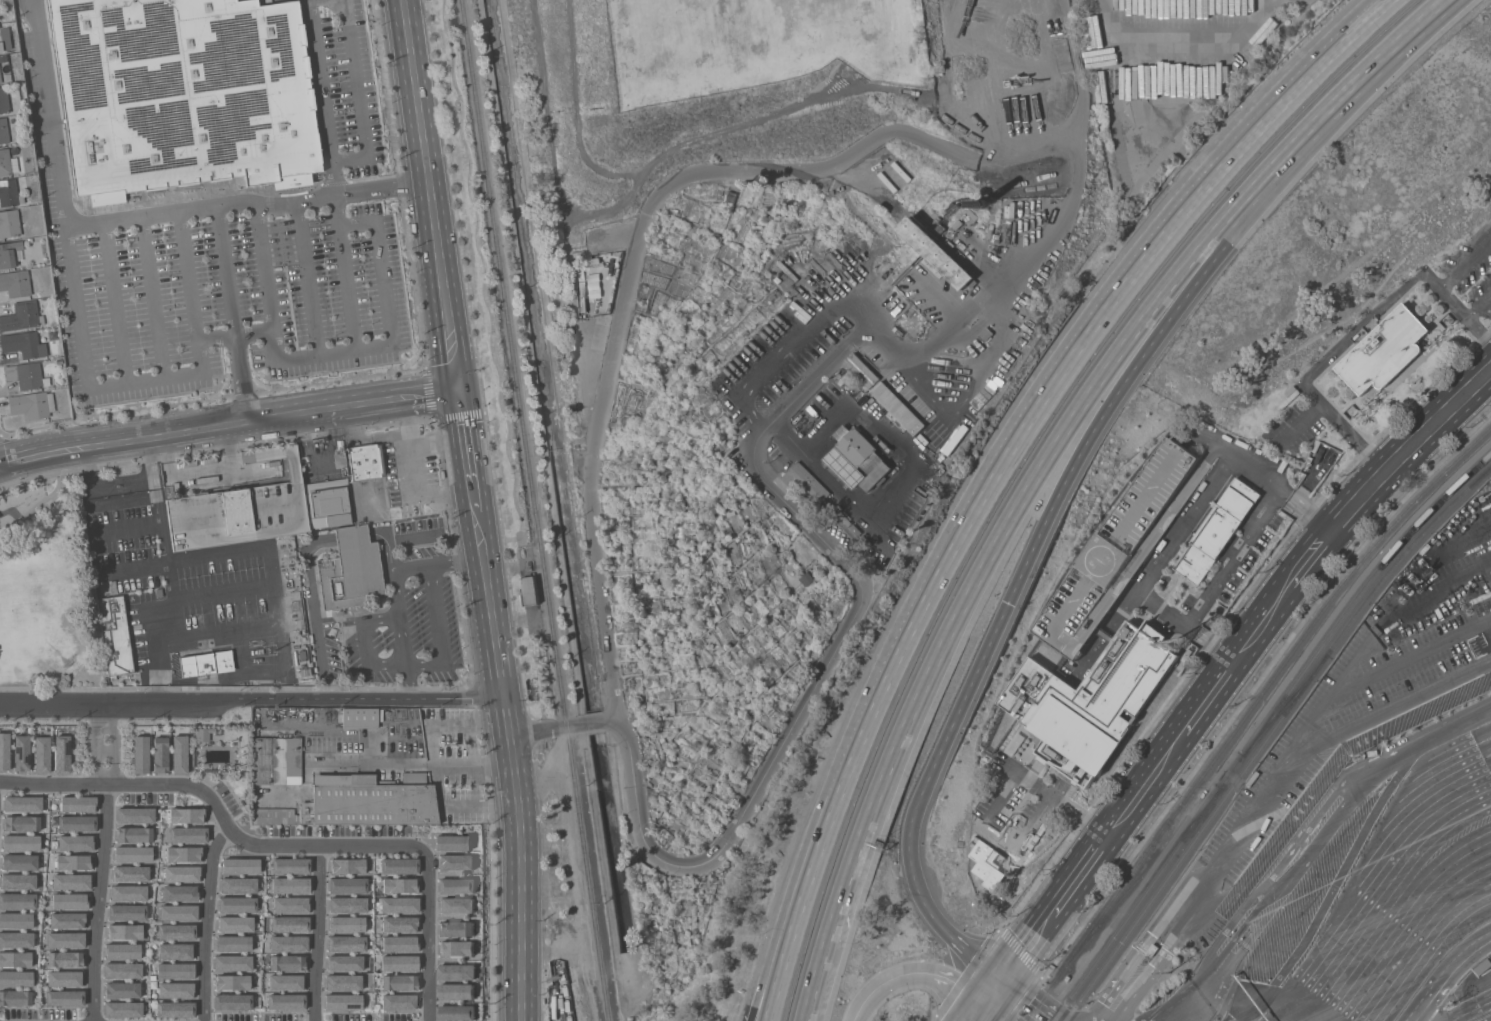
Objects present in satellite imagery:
road: (1181, 33)
park: (757, 43)
building: (1, 46)
building: (0, 79)
road: (1348, 87)
building: (182, 94)
road: (358, 95)
road: (322, 97)
building: (4, 100)
road: (52, 113)
building: (3, 130)
building: (7, 163)
road: (373, 178)
road: (334, 182)
road: (295, 188)
building: (9, 193)
road: (274, 193)
road: (337, 194)
road: (193, 195)
road: (433, 195)
building: (983, 203)
road: (274, 205)
road: (156, 214)
building: (951, 214)
building: (973, 215)
building: (9, 224)
building: (957, 225)
building: (17, 245)
parking lot: (229, 250)
building: (934, 253)
building: (6, 255)
building: (592, 261)
road: (1466, 265)
road: (344, 271)
building: (580, 273)
road: (307, 278)
road: (287, 282)
building: (15, 283)
building: (973, 283)
building: (592, 284)
building: (581, 288)
road: (625, 290)
road: (151, 297)
road: (113, 302)
road: (78, 304)
building: (583, 304)
road: (1479, 305)
road: (231, 314)
building: (21, 316)
road: (1354, 331)
road: (233, 334)
building: (985, 334)
building: (23, 344)
road: (197, 348)
road: (334, 350)
building: (1384, 351)
building: (862, 371)
building: (26, 375)
traffic signals: (461, 390)
building: (1289, 398)
road: (391, 400)
building: (32, 404)
road: (1038, 404)
building: (898, 408)
road: (1437, 418)
road: (1300, 421)
road: (1197, 431)
road: (160, 434)
building: (931, 434)
road: (467, 436)
road: (368, 438)
road: (438, 439)
road: (1217, 440)
road: (211, 448)
building: (857, 457)
building: (365, 461)
road: (1222, 470)
road: (202, 474)
road: (412, 476)
road: (1068, 478)
building: (806, 482)
road: (37, 505)
building: (258, 510)
railway: (534, 510)
building: (844, 517)
building: (1217, 531)
road: (352, 533)
road: (386, 545)
building: (1121, 547)
parking garage: (1121, 547)
parking lot: (1253, 559)
building: (351, 570)
road: (983, 574)
road: (165, 577)
road: (270, 583)
road: (394, 585)
road: (489, 586)
building: (112, 587)
park: (47, 589)
road: (219, 591)
building: (530, 591)
building: (159, 592)
road: (314, 605)
road: (1184, 623)
road: (439, 630)
building: (115, 635)
road: (281, 660)
building: (207, 663)
road: (1256, 684)
road: (252, 697)
road: (807, 698)
building: (1090, 702)
road: (1397, 705)
railway: (1285, 706)
railway: (1246, 713)
building: (361, 717)
road: (1312, 720)
road: (452, 725)
road: (1184, 726)
railway: (1262, 730)
building: (206, 733)
railway: (1269, 738)
road: (95, 741)
road: (114, 742)
building: (1015, 744)
building: (4, 751)
building: (22, 753)
building: (42, 754)
building: (62, 754)
building: (141, 754)
building: (160, 754)
building: (179, 754)
building: (277, 760)
road: (475, 765)
road: (53, 783)
road: (438, 783)
road: (180, 784)
road: (1057, 799)
building: (360, 802)
building: (78, 803)
building: (22, 804)
parking lot: (1018, 808)
building: (135, 815)
building: (185, 815)
building: (22, 823)
building: (77, 823)
road: (1031, 825)
road: (1282, 827)
building: (134, 834)
building: (186, 834)
road: (1308, 840)
building: (21, 843)
building: (76, 843)
building: (452, 843)
road: (325, 846)
building: (133, 854)
building: (183, 854)
road: (522, 855)
building: (19, 862)
building: (74, 862)
building: (456, 862)
building: (240, 865)
building: (290, 865)
building: (398, 865)
building: (347, 866)
building: (131, 873)
building: (181, 873)
building: (1012, 873)
railway: (1143, 876)
building: (18, 882)
building: (71, 882)
building: (238, 885)
building: (290, 885)
building: (347, 885)
building: (399, 885)
building: (456, 886)
building: (129, 893)
building: (179, 893)
building: (18, 901)
building: (69, 901)
road: (100, 902)
building: (236, 904)
building: (290, 904)
building: (346, 904)
building: (399, 904)
road: (924, 904)
road: (1197, 904)
building: (456, 905)
building: (127, 912)
building: (177, 912)
road: (1391, 914)
building: (16, 920)
building: (67, 921)
road: (208, 922)
building: (235, 924)
building: (289, 924)
building: (346, 924)
building: (398, 924)
building: (456, 929)
building: (175, 931)
building: (125, 932)
road: (319, 934)
road: (428, 935)
road: (1002, 935)
building: (16, 939)
building: (66, 940)
building: (232, 943)
building: (288, 943)
building: (399, 943)
building: (346, 945)
building: (456, 948)
road: (769, 949)
building: (1152, 950)
building: (122, 951)
building: (175, 951)
road: (786, 951)
road: (1139, 951)
building: (15, 959)
building: (65, 959)
building: (232, 962)
building: (286, 963)
building: (344, 963)
building: (399, 963)
building: (175, 970)
building: (122, 971)
building: (456, 972)
road: (1447, 975)
road: (888, 977)
building: (16, 978)
building: (64, 979)
building: (231, 982)
building: (286, 982)
building: (342, 982)
building: (399, 982)
road: (949, 982)
building: (122, 990)
building: (175, 990)
traffic signals: (993, 990)
building: (455, 991)
building: (15, 998)
building: (64, 999)
building: (231, 1001)
building: (285, 1001)
building: (344, 1001)
building: (399, 1001)
road: (860, 1003)
road: (980, 1005)
road: (1011, 1005)
building: (123, 1009)
building: (174, 1009)
building: (456, 1013)
road: (933, 1018)
road: (1102, 1018)

